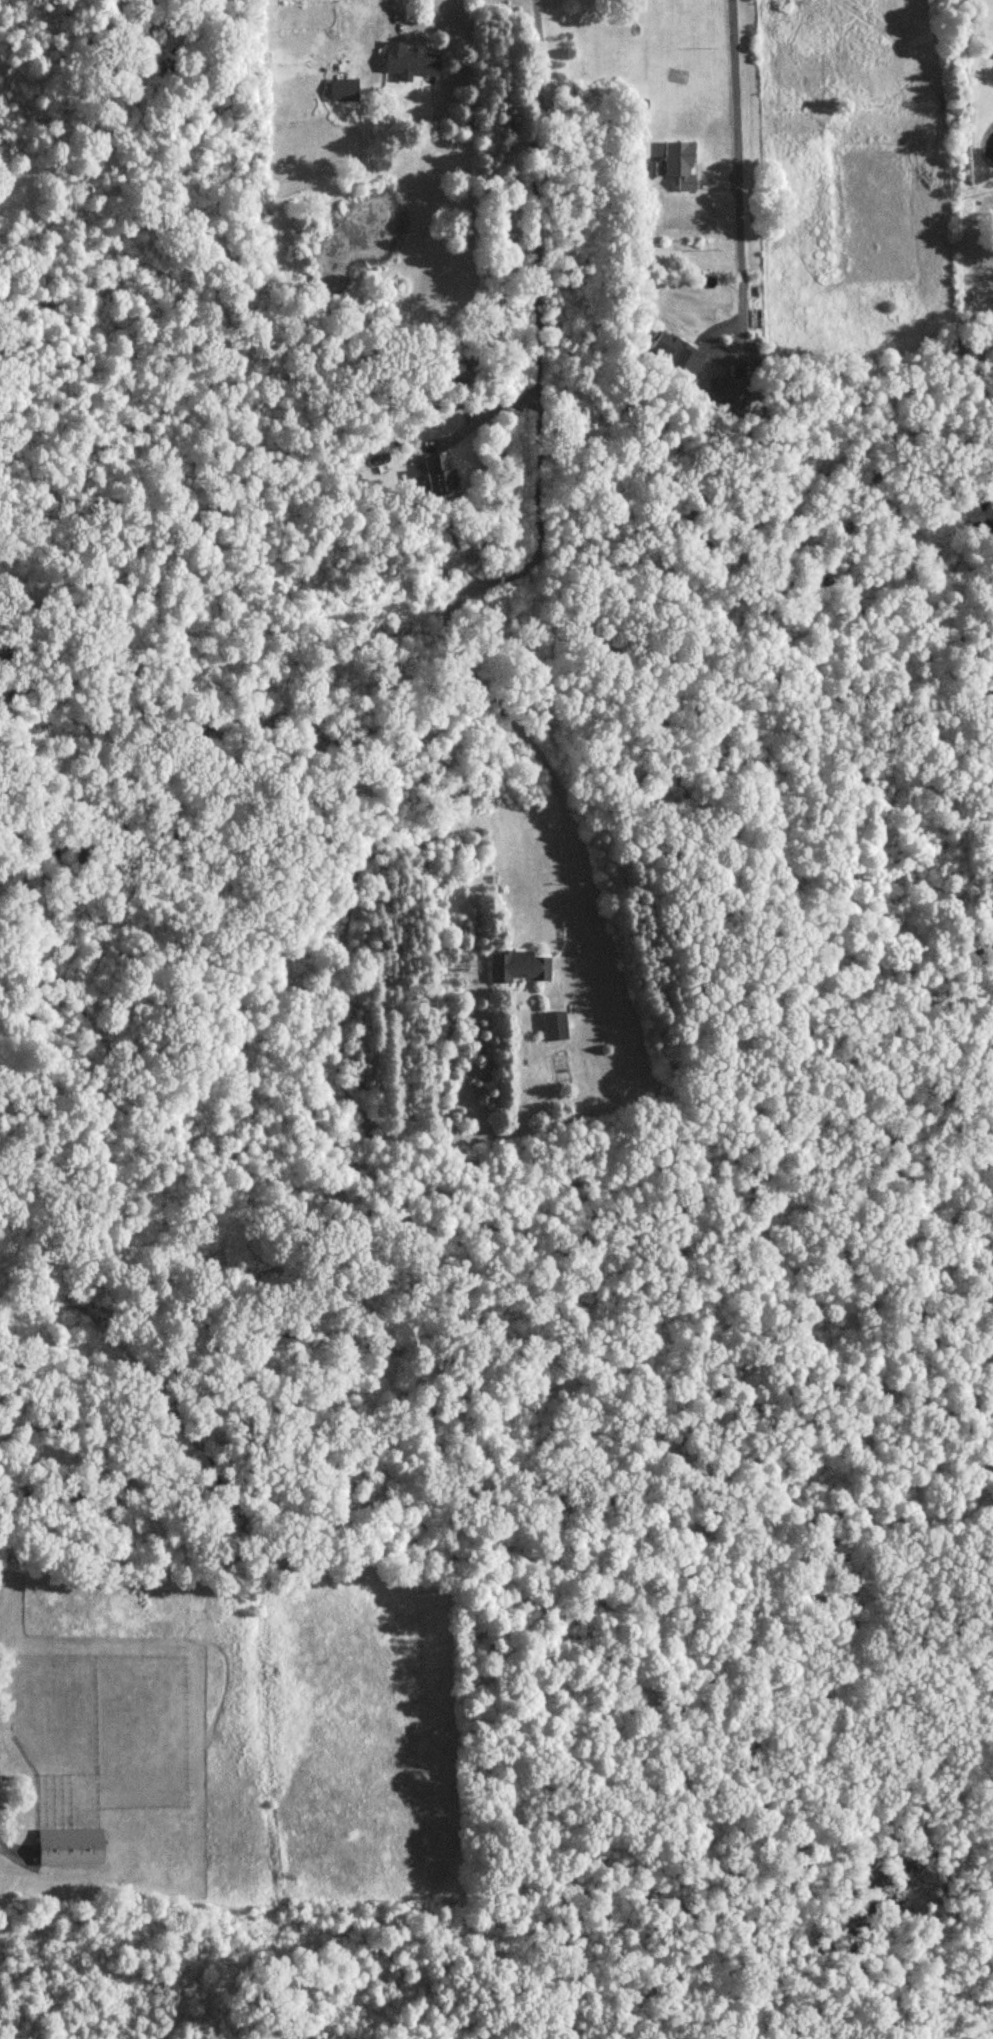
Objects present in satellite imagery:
building: (286, 4)
road: (395, 5)
building: (409, 63)
building: (340, 92)
building: (680, 166)
road: (731, 176)
building: (667, 353)
building: (728, 395)
road: (489, 415)
building: (439, 477)
road: (535, 522)
building: (517, 969)
building: (554, 1030)
building: (70, 1849)

